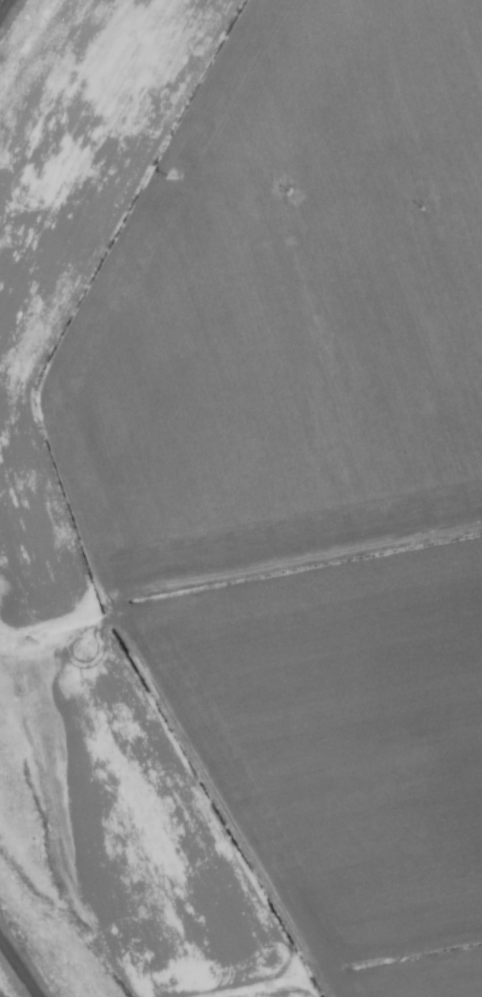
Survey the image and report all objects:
crop: (241, 497)

